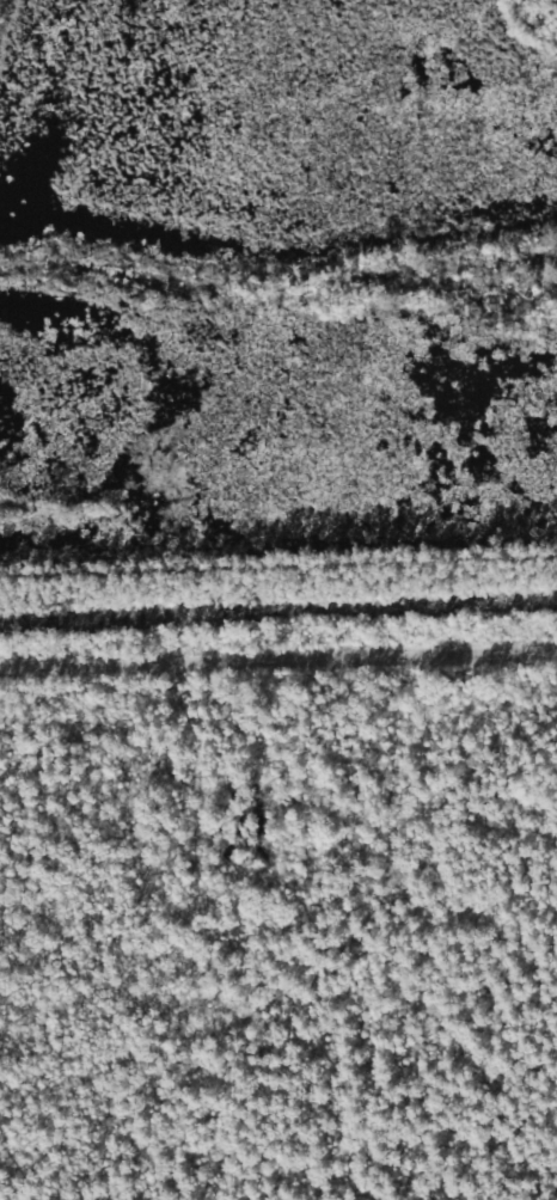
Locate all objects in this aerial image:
road: (278, 679)

